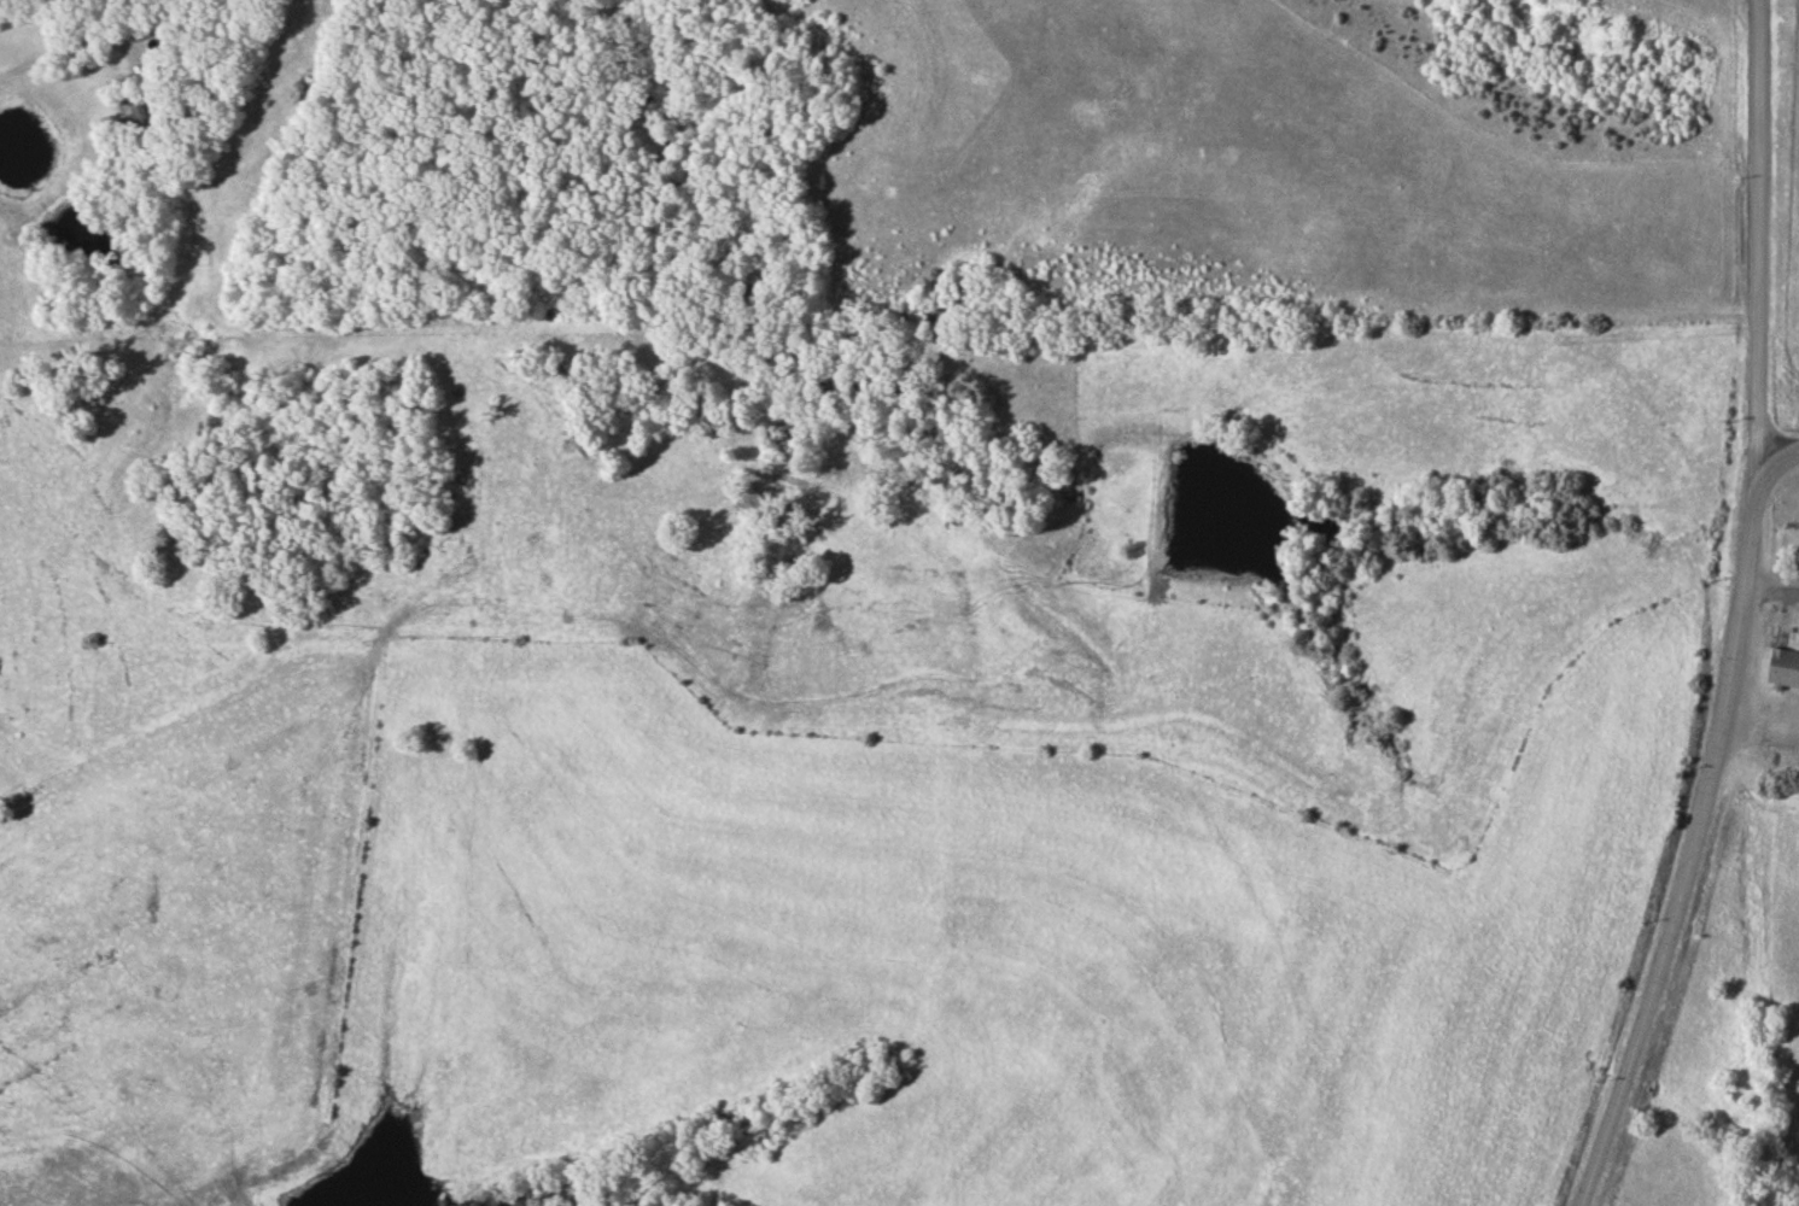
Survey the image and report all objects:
road: (1763, 245)
road: (1772, 464)
building: (1782, 651)
road: (1692, 854)

